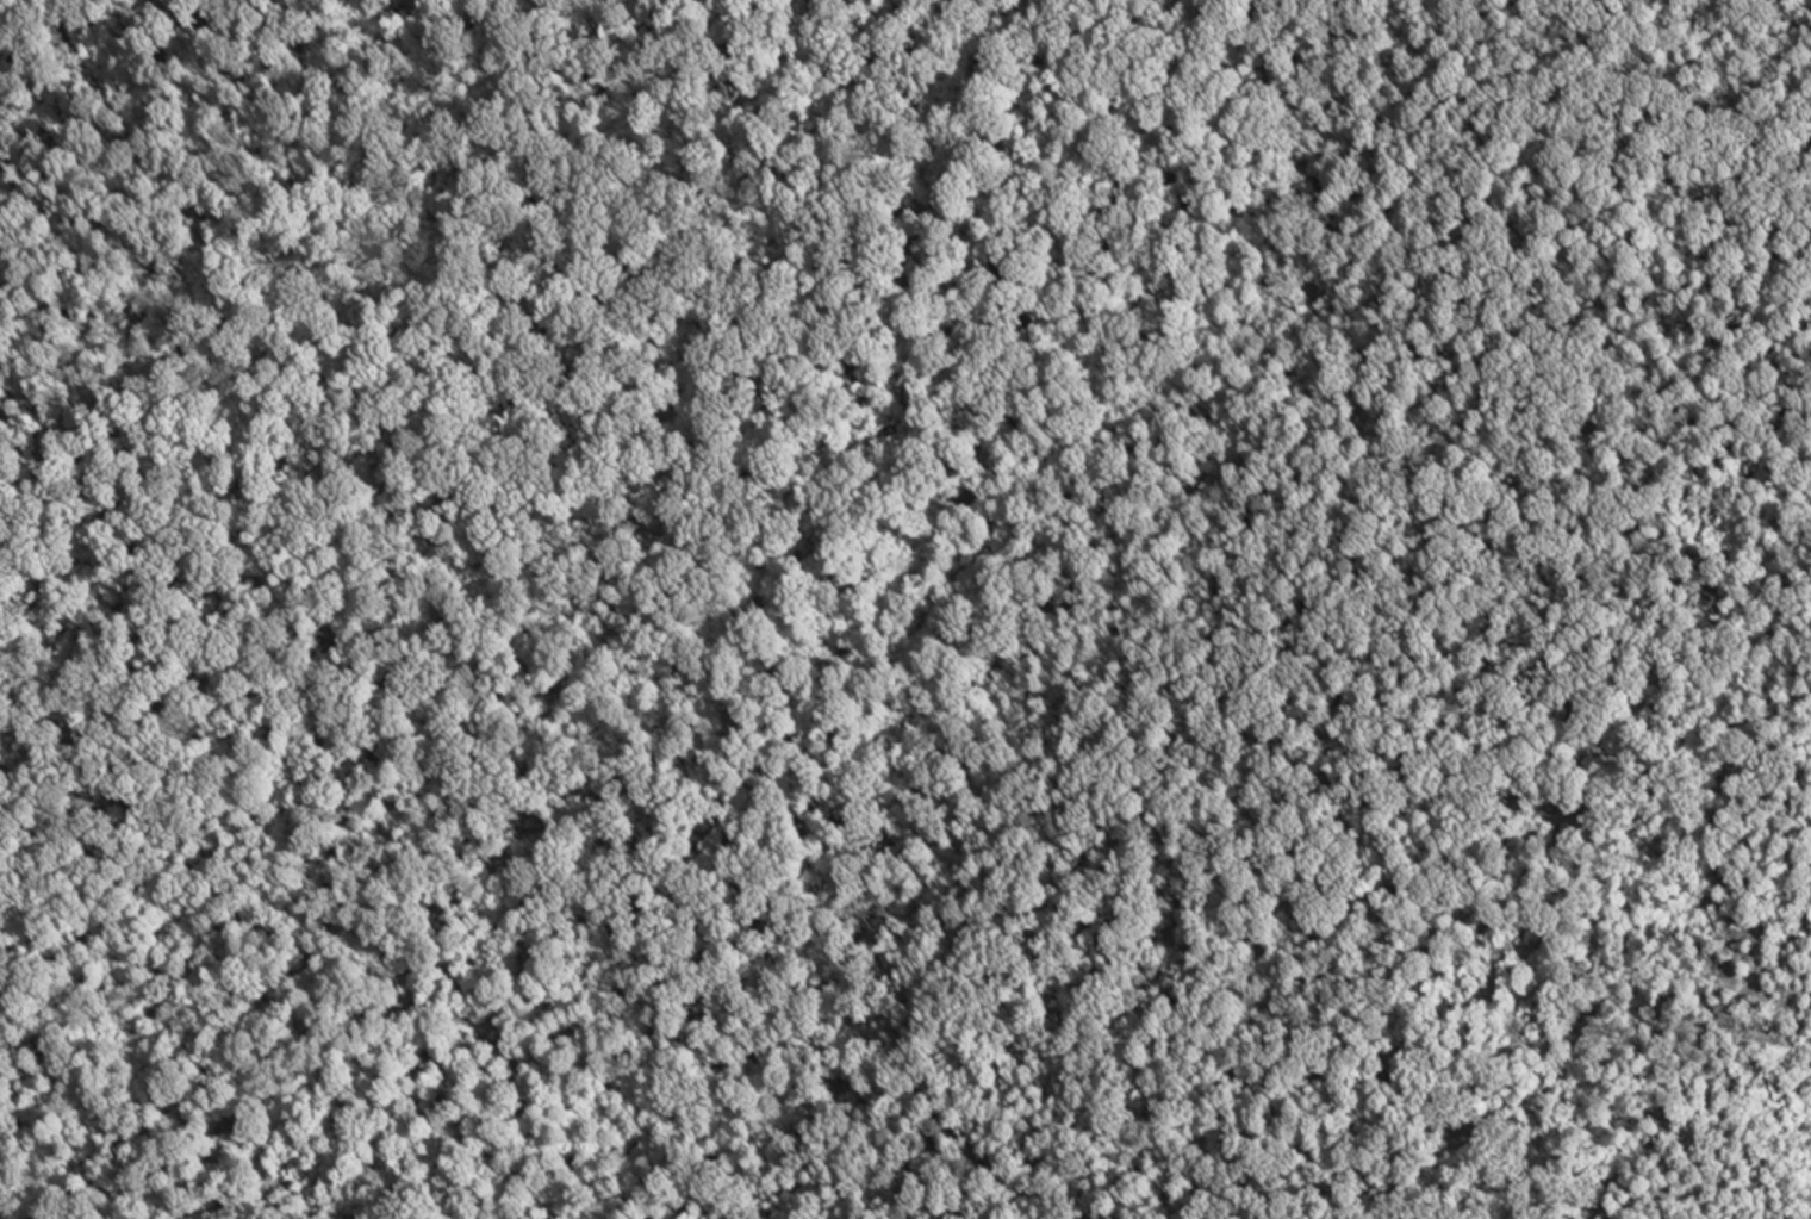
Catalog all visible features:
road: (1613, 576)
road: (1741, 977)
road: (1555, 991)
road: (1417, 1163)

